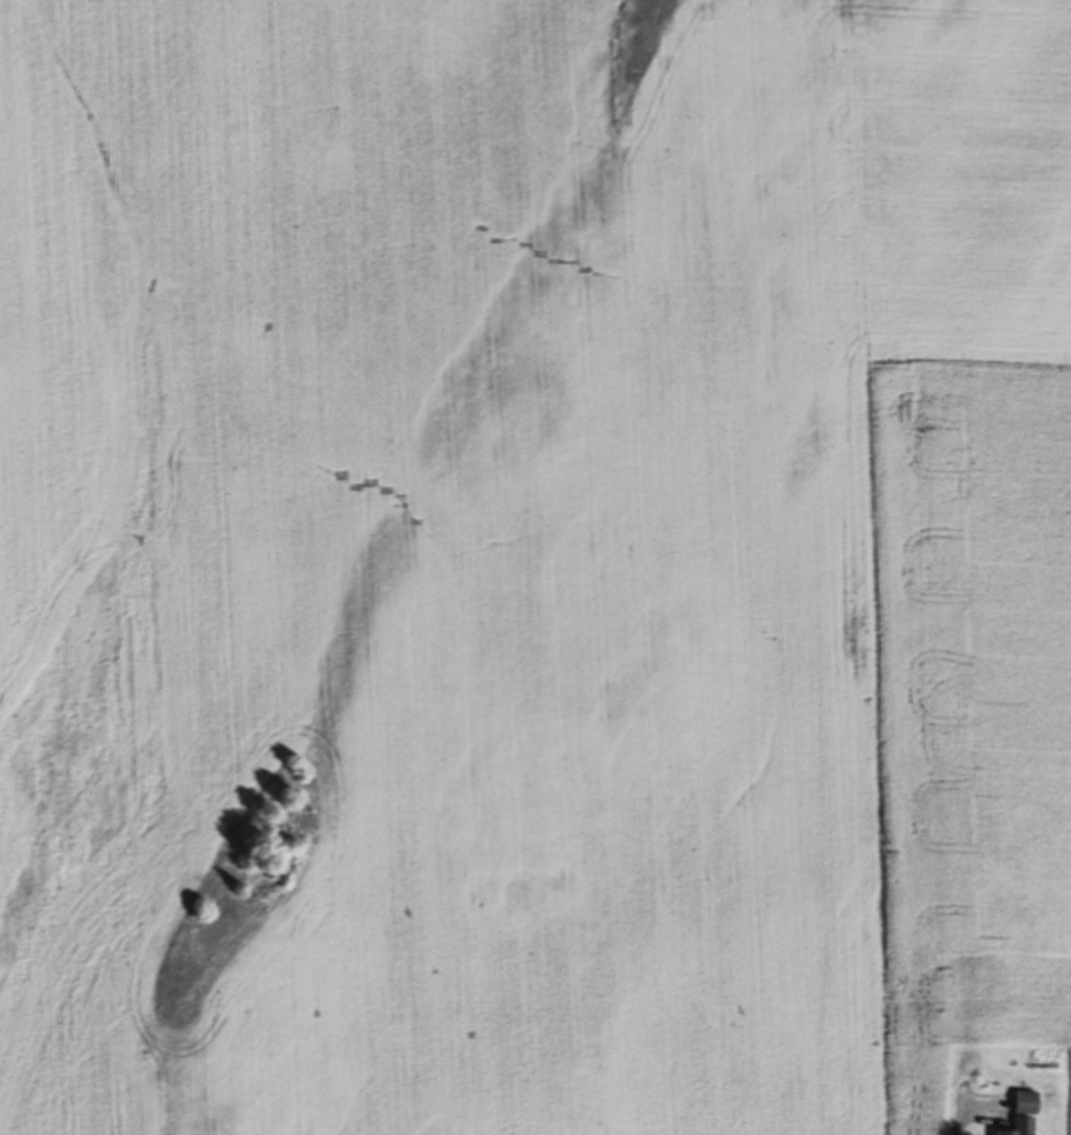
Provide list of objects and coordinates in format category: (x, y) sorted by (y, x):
building: (1020, 1106)
road: (958, 1115)
building: (1018, 1127)
building: (993, 1134)

